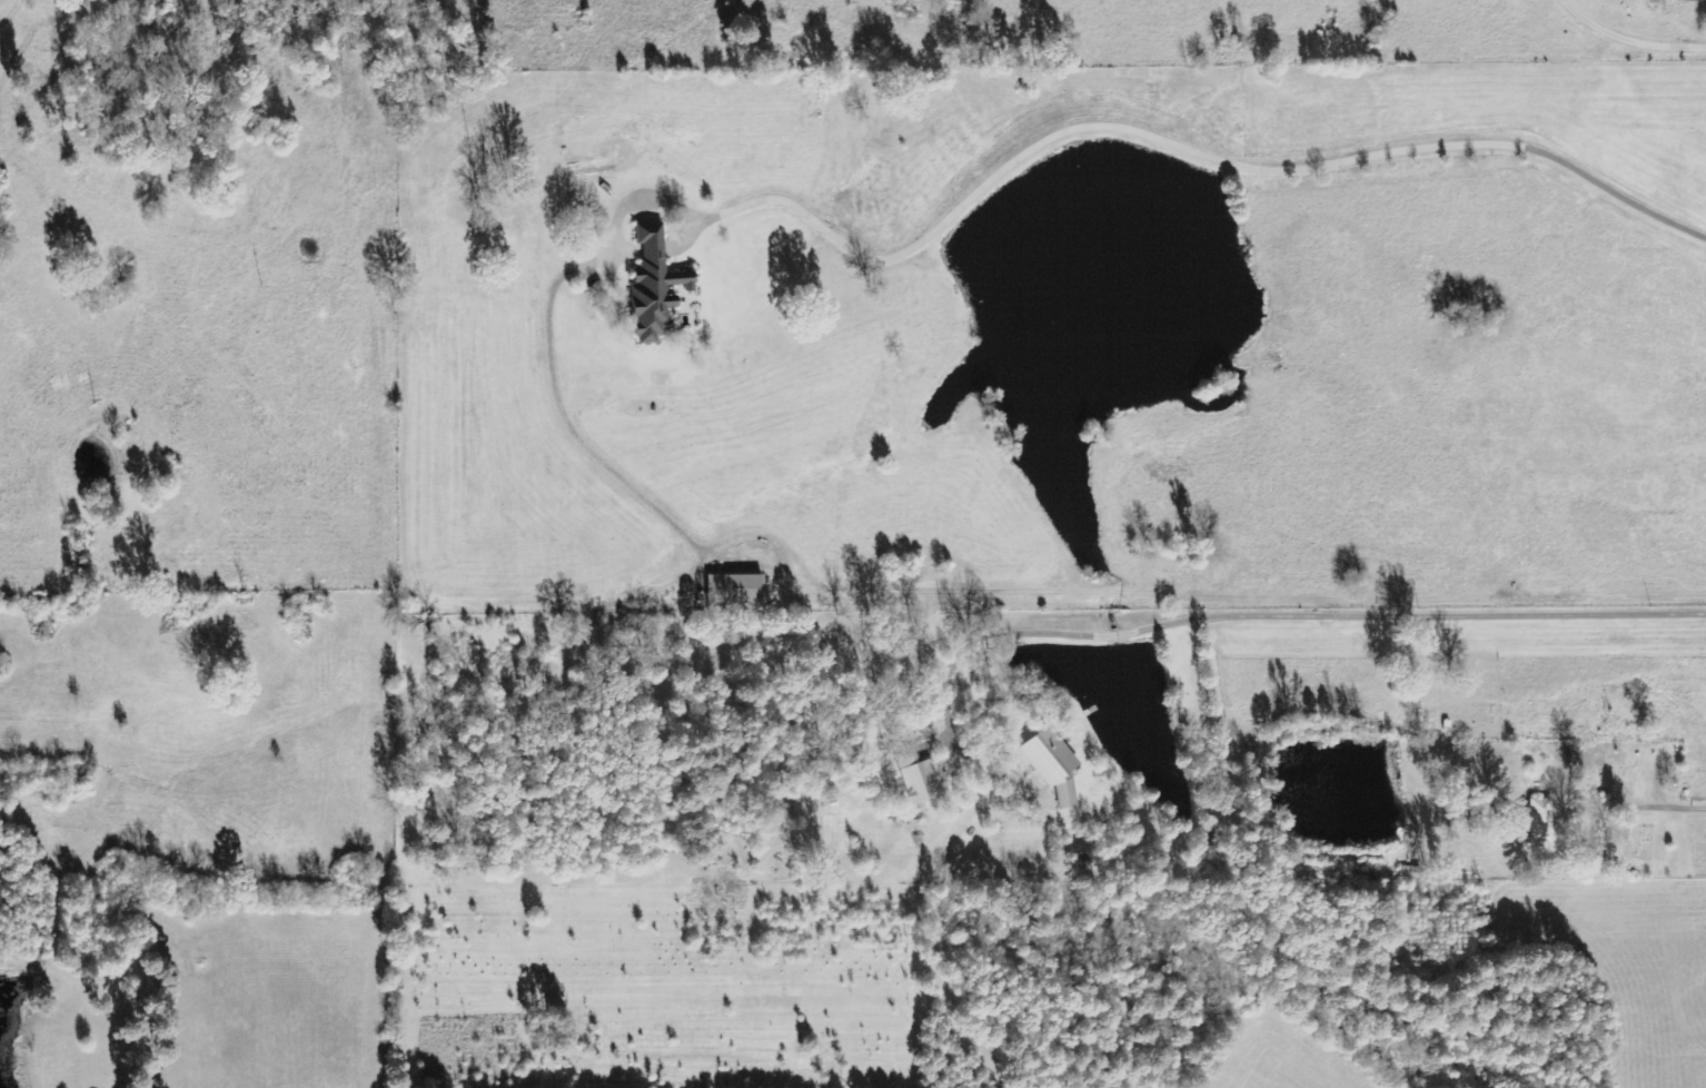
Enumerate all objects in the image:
building: (651, 285)
building: (731, 588)
building: (1049, 763)
building: (913, 770)
building: (1537, 820)

